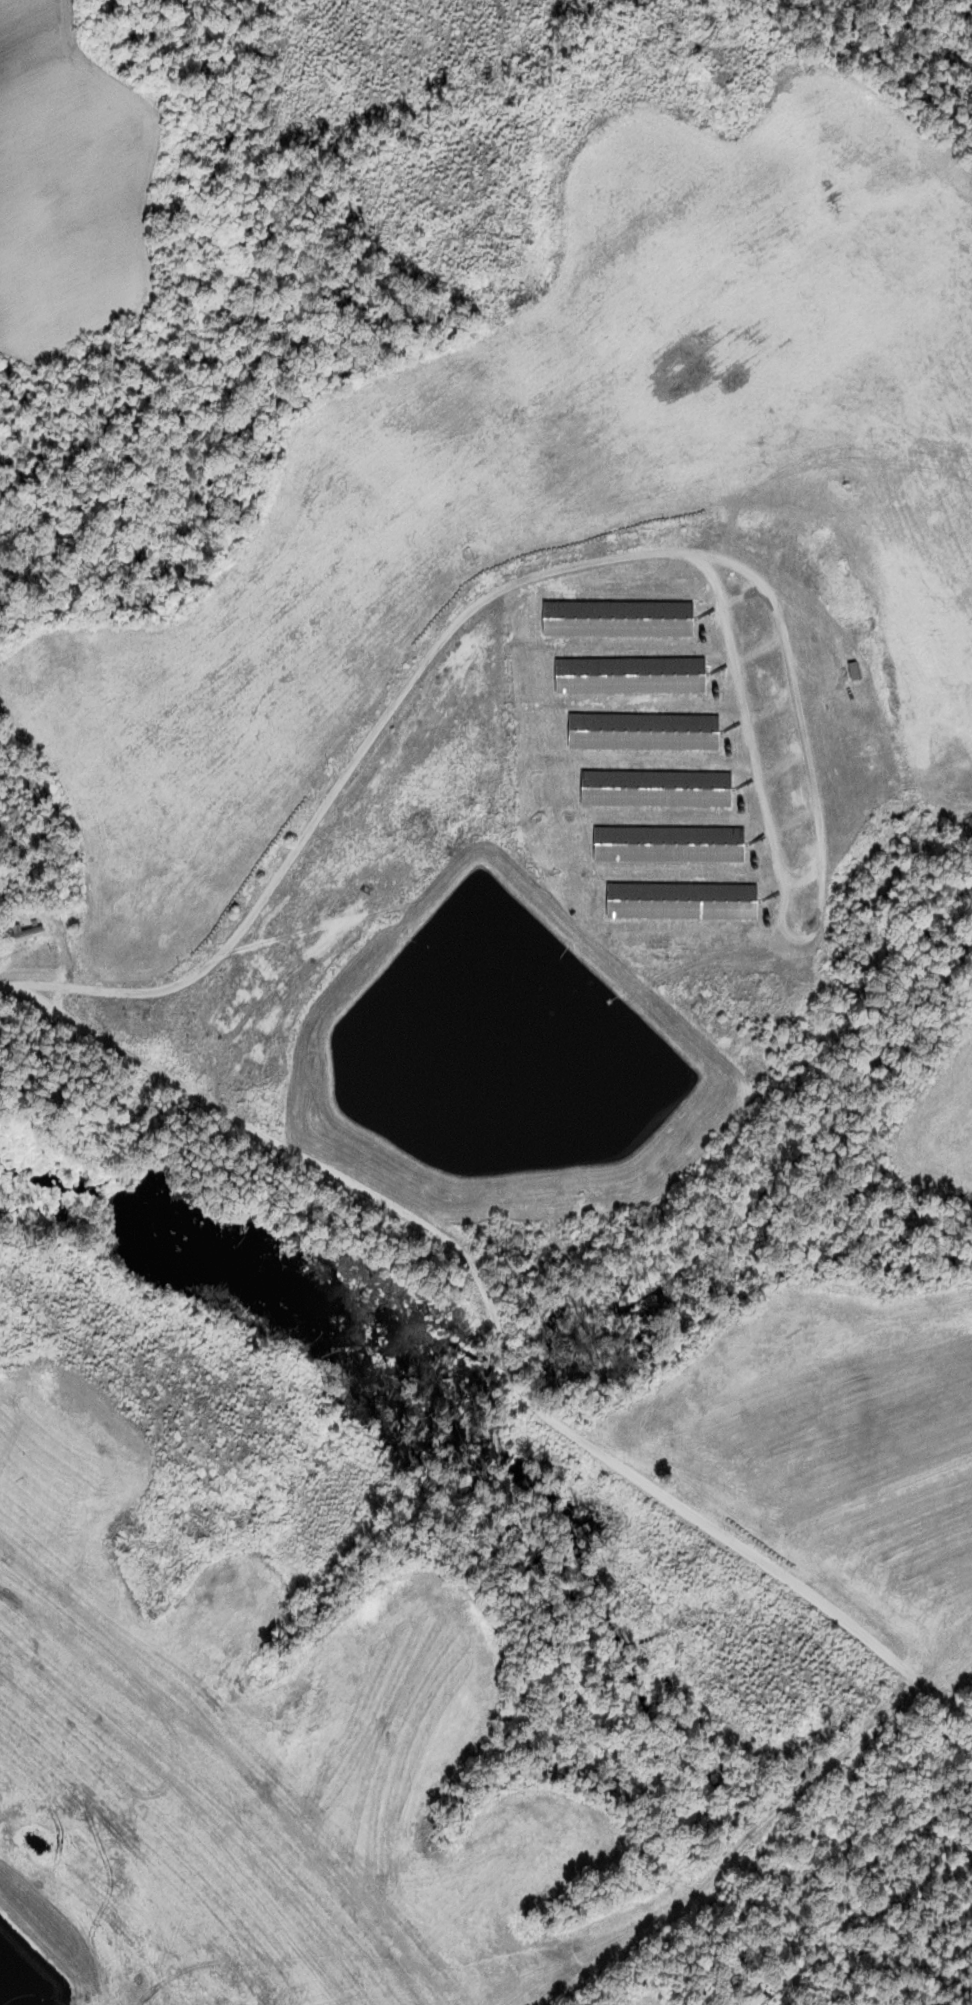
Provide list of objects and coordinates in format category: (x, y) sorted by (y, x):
building: (850, 669)
building: (21, 933)
road: (499, 1329)

